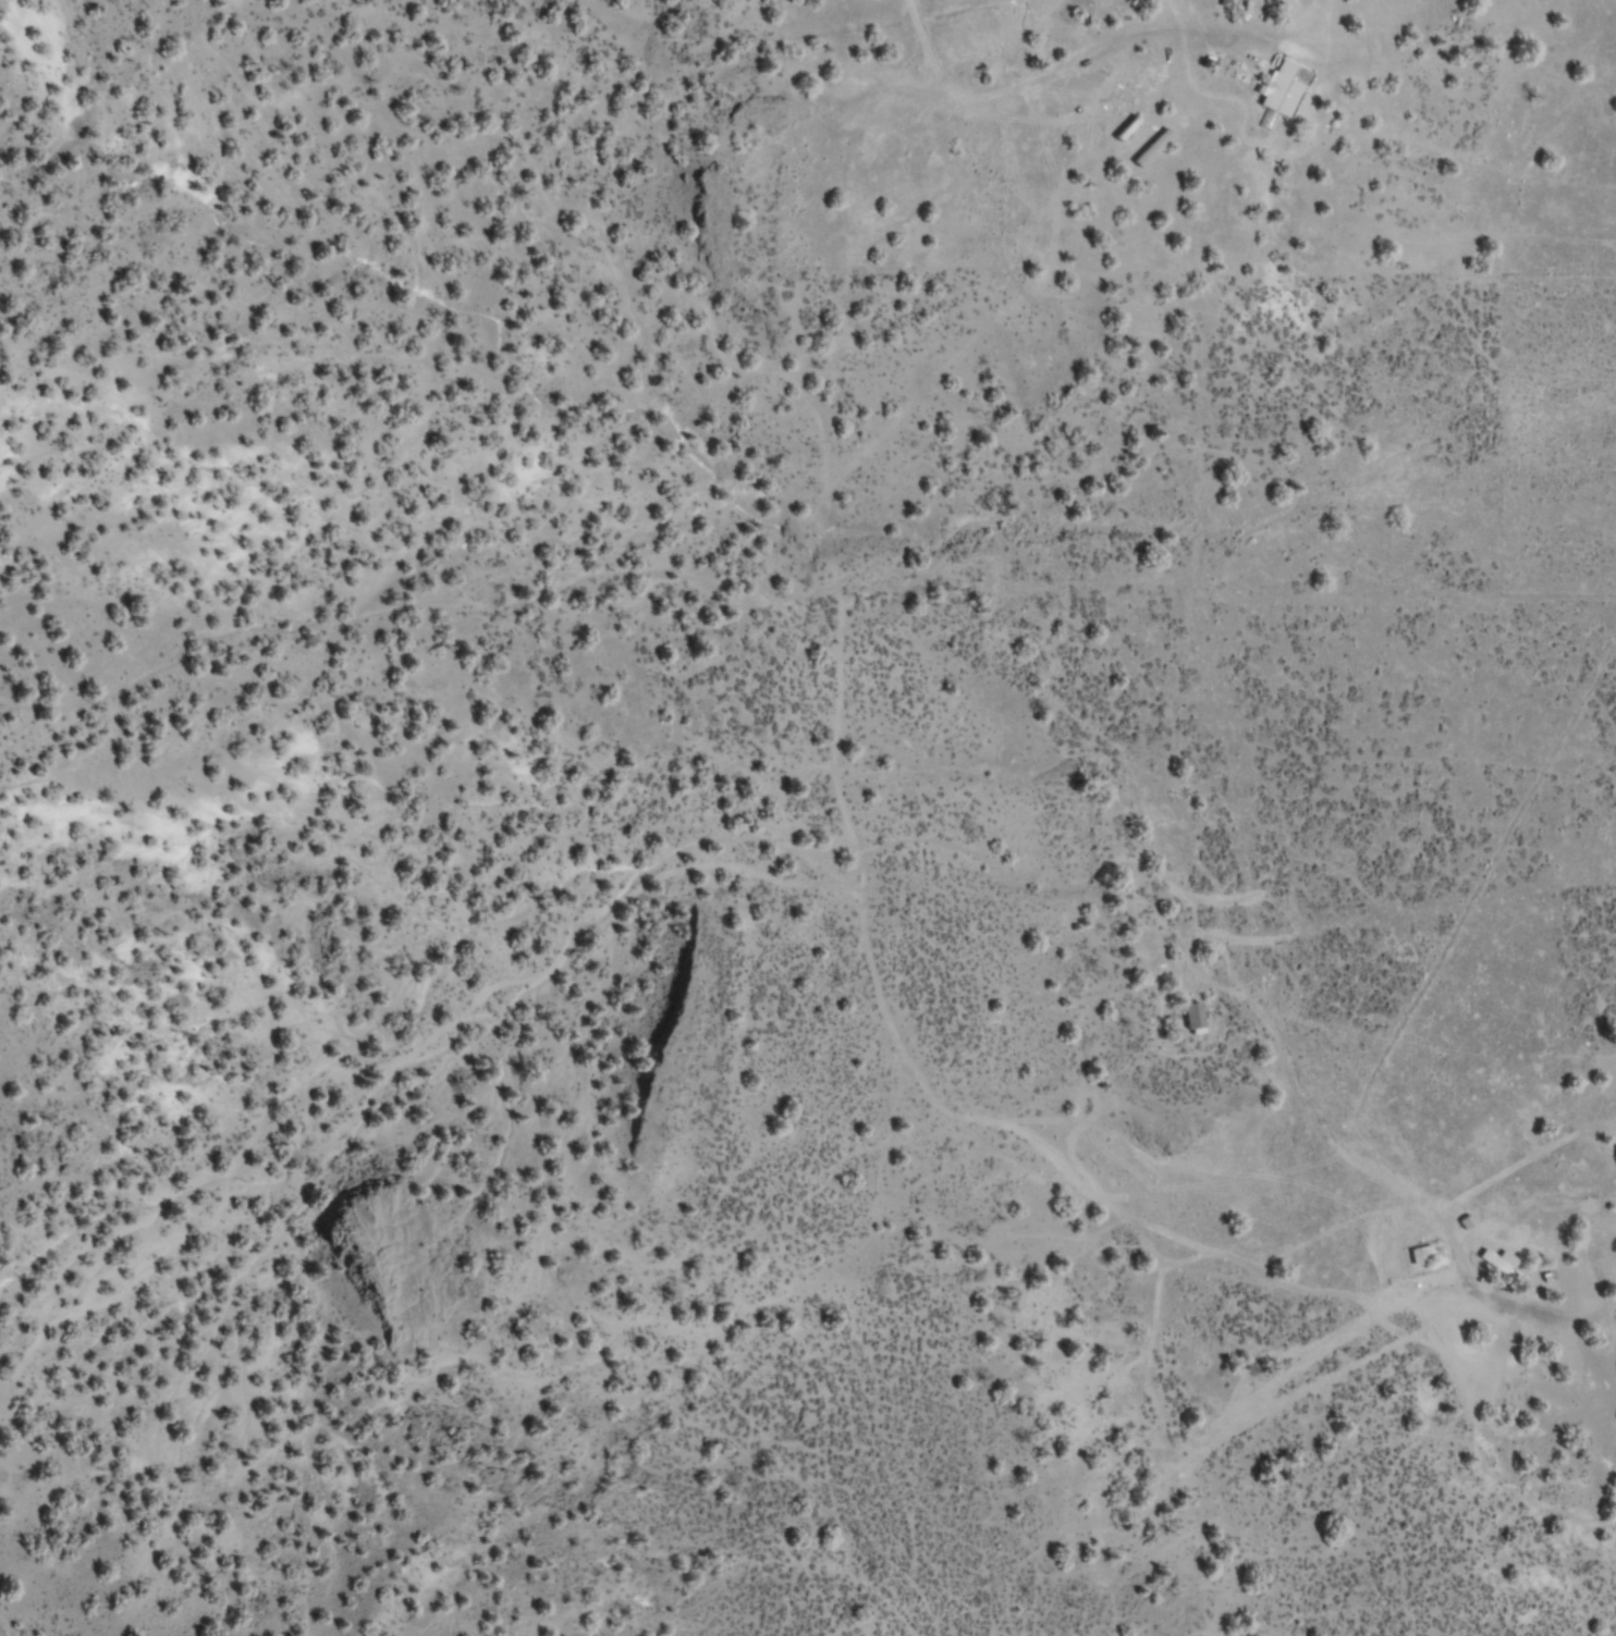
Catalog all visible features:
building: (1278, 86)
building: (1190, 1017)
building: (1418, 1252)

